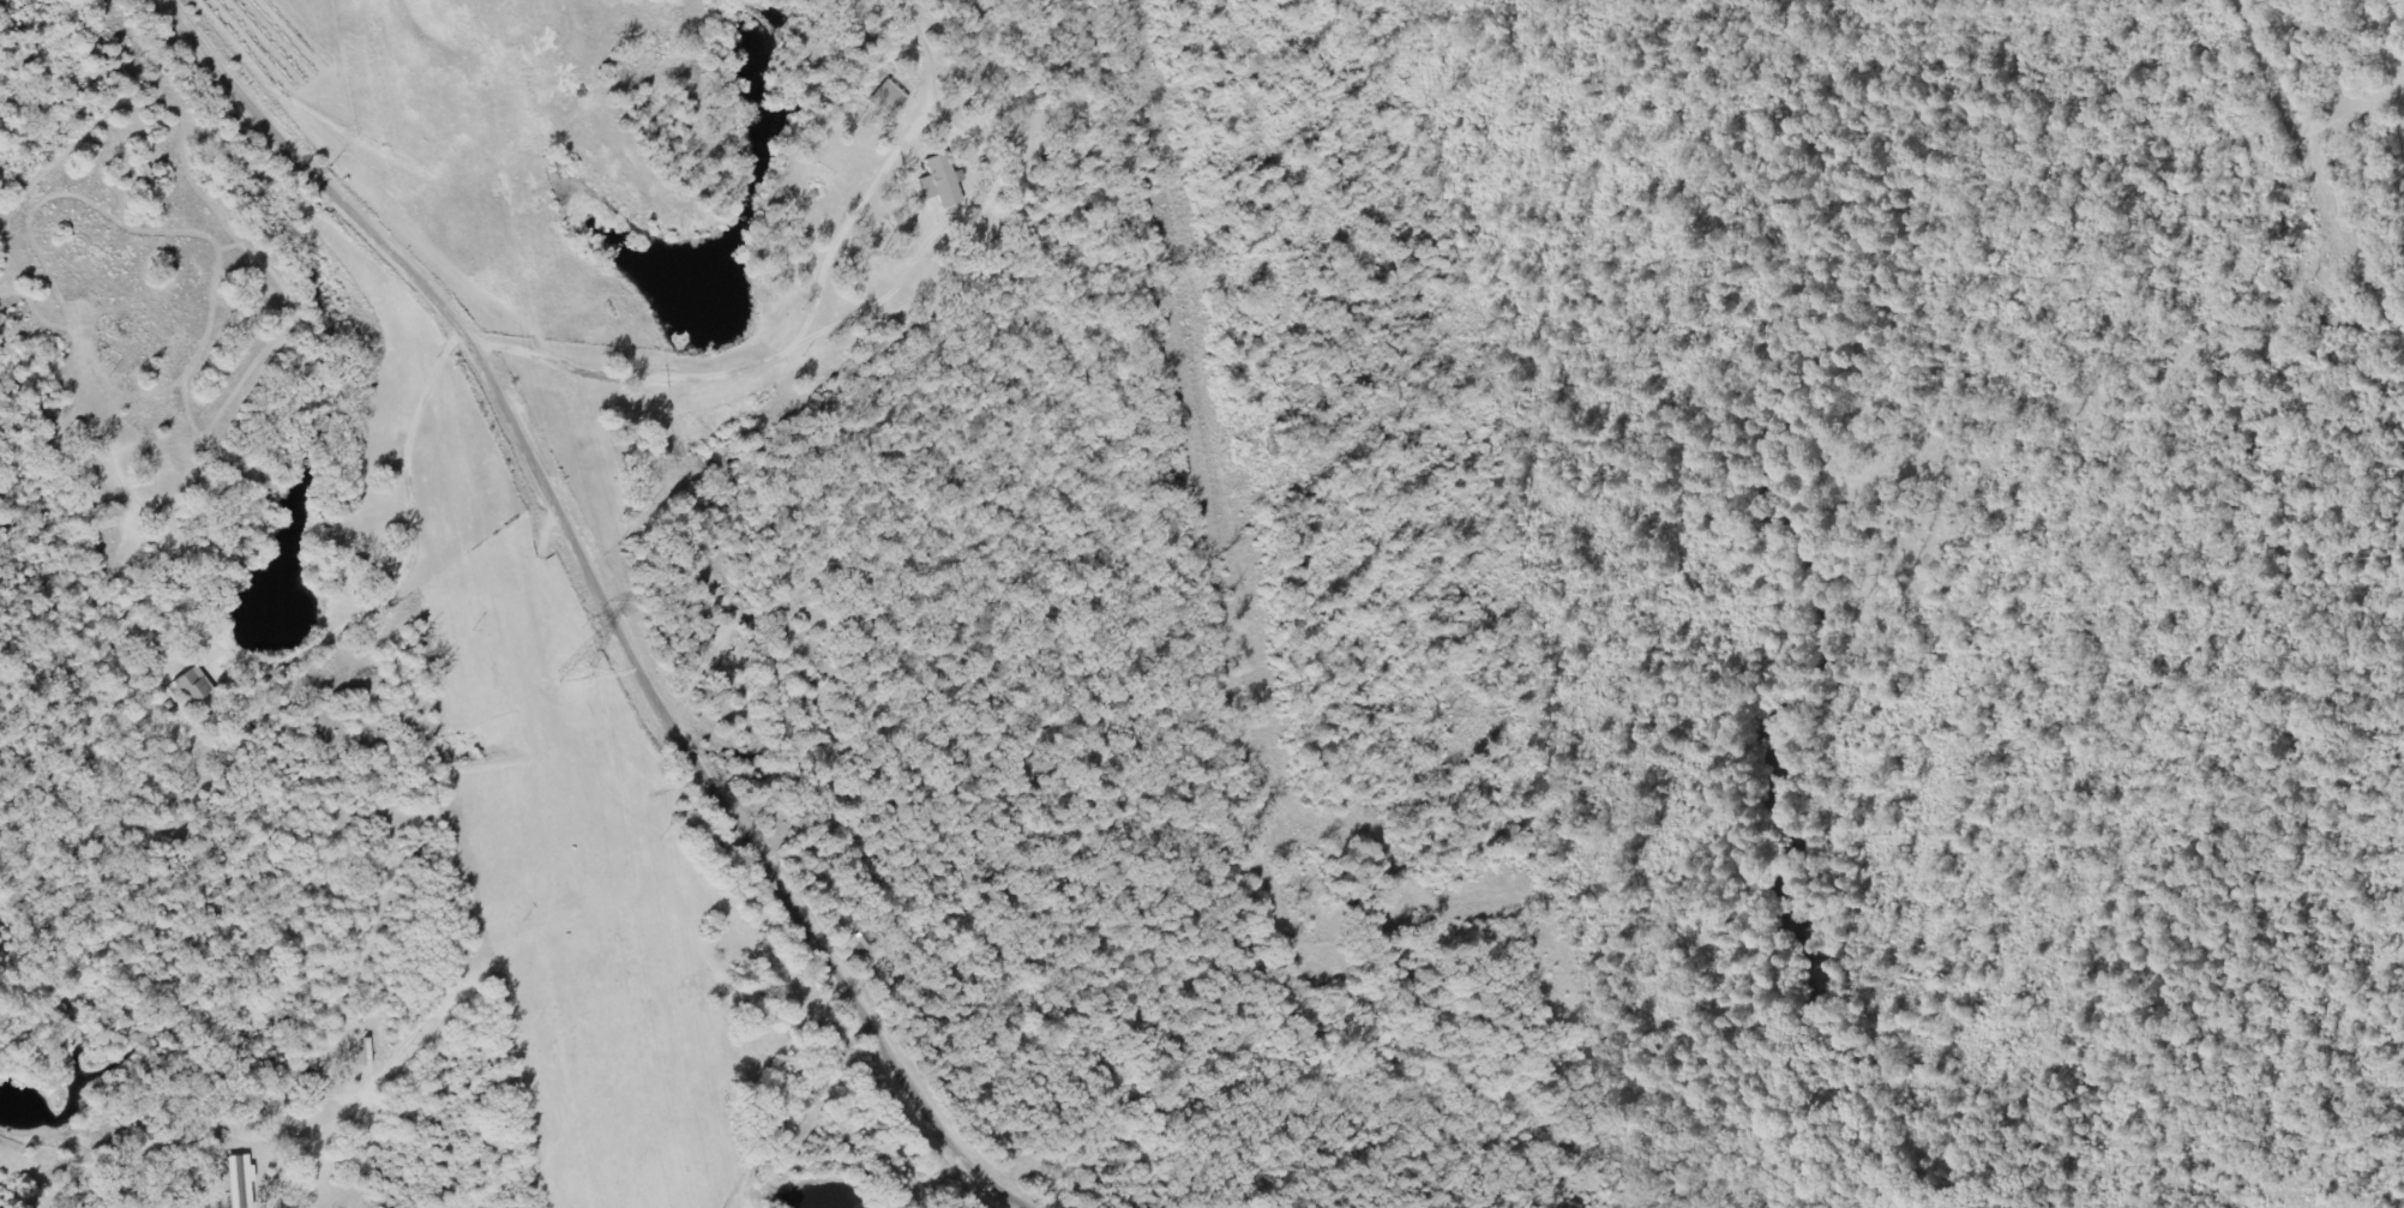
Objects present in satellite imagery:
building: (888, 100)
building: (940, 182)
road: (2313, 190)
road: (564, 602)
power tower: (577, 674)
building: (196, 691)
building: (239, 1182)

